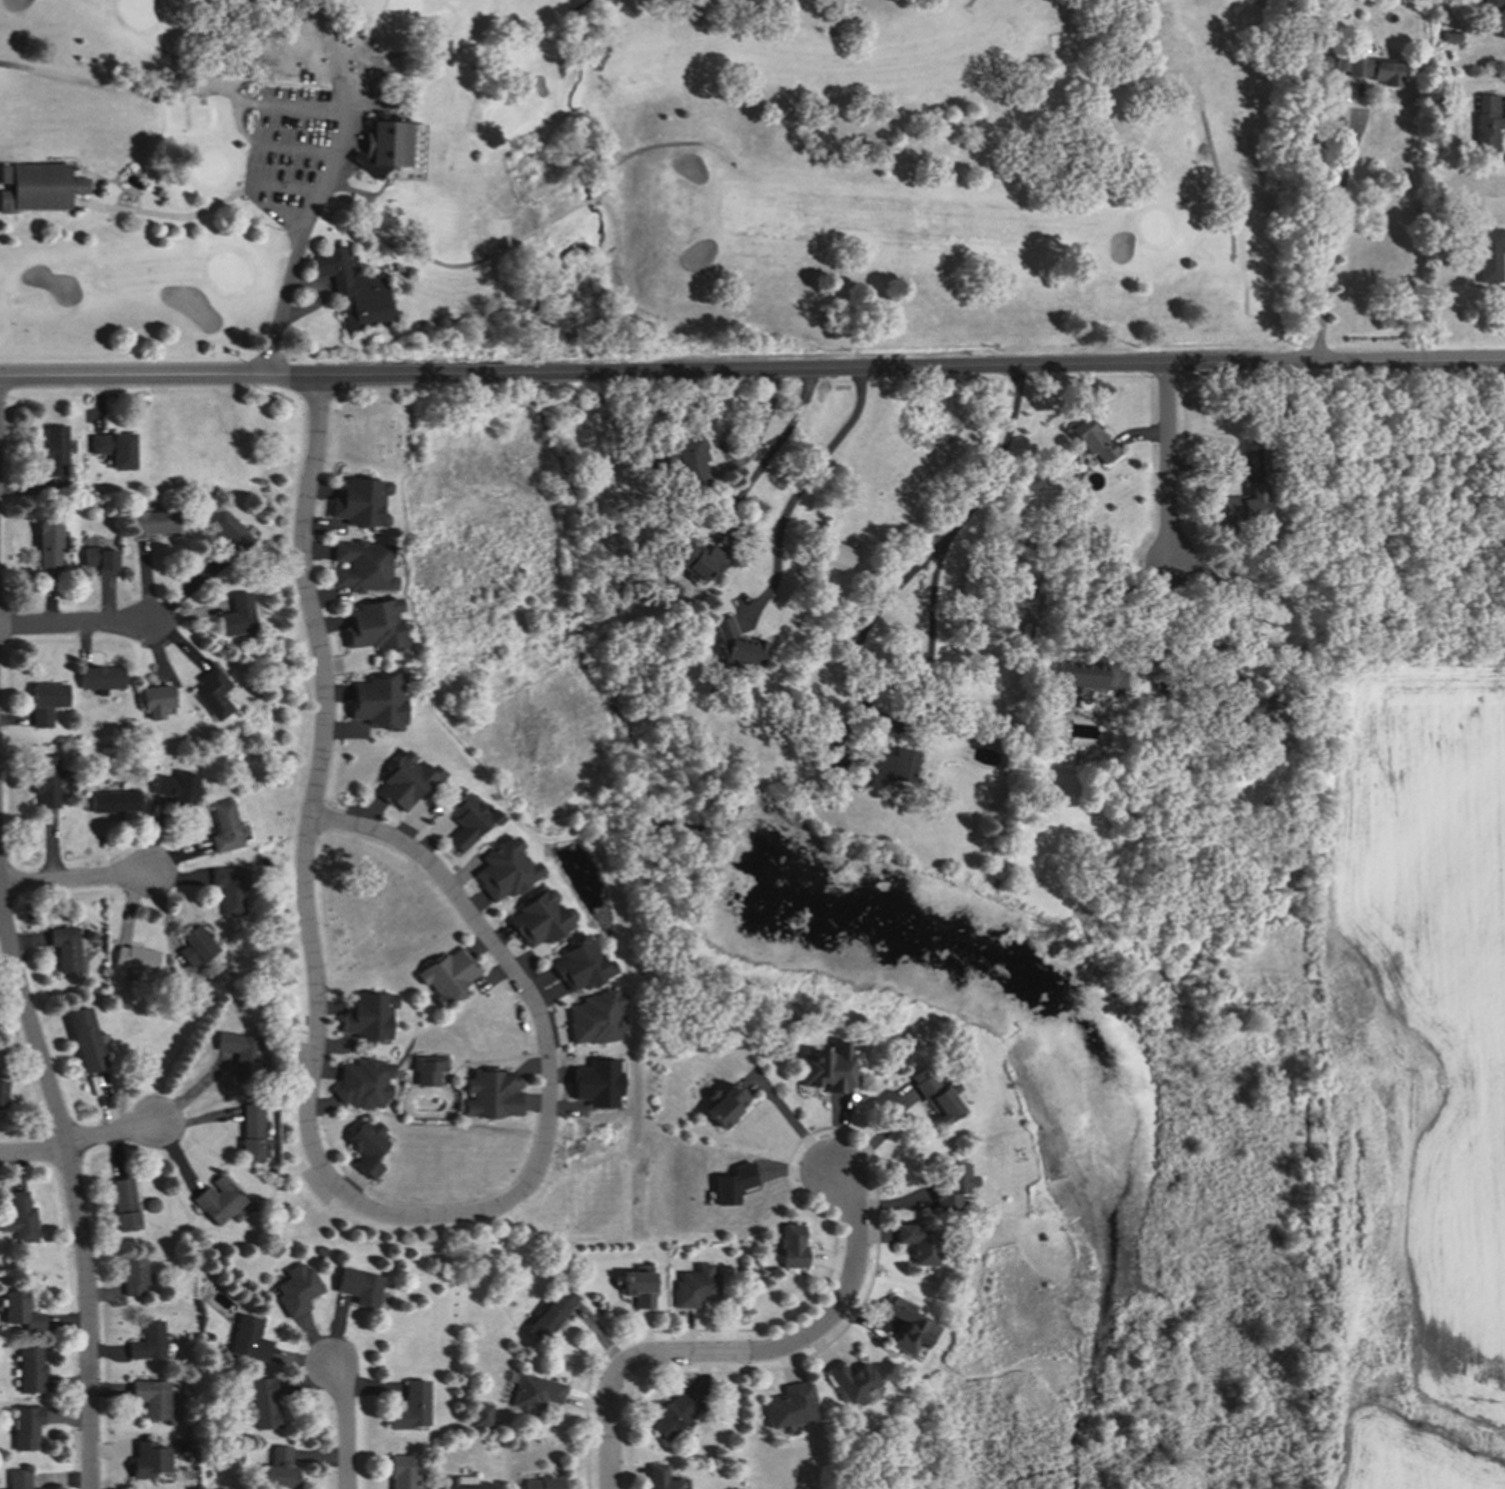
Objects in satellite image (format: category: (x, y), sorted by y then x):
building: (281, 3)
building: (1486, 3)
building: (1449, 36)
building: (1324, 61)
building: (1369, 68)
building: (359, 81)
building: (380, 93)
road: (337, 98)
building: (1487, 121)
parking lot: (294, 140)
building: (390, 149)
park: (636, 178)
building: (39, 186)
road: (284, 189)
road: (1331, 233)
building: (1487, 254)
building: (349, 288)
road: (1294, 362)
road: (815, 368)
road: (408, 376)
road: (134, 379)
building: (1091, 440)
building: (113, 449)
road: (1166, 449)
building: (52, 450)
road: (765, 454)
building: (1269, 457)
building: (676, 460)
building: (138, 488)
road: (794, 490)
building: (357, 502)
building: (1030, 505)
building: (1238, 507)
building: (150, 522)
building: (227, 534)
building: (47, 543)
building: (1052, 547)
building: (831, 554)
building: (98, 560)
building: (696, 561)
building: (358, 566)
road: (1146, 573)
road: (1226, 610)
building: (235, 615)
road: (1118, 615)
road: (863, 625)
road: (75, 626)
building: (371, 626)
building: (732, 646)
building: (670, 672)
building: (1076, 673)
building: (99, 677)
building: (1157, 684)
building: (211, 692)
building: (154, 700)
building: (42, 702)
building: (374, 703)
building: (1238, 705)
building: (1005, 762)
building: (886, 766)
building: (404, 778)
building: (44, 781)
building: (173, 788)
building: (112, 800)
building: (466, 817)
building: (222, 827)
building: (261, 862)
building: (504, 873)
road: (75, 885)
building: (228, 889)
building: (540, 920)
building: (86, 936)
building: (194, 946)
building: (65, 947)
building: (136, 957)
building: (577, 967)
building: (448, 975)
building: (206, 977)
building: (366, 1013)
building: (594, 1021)
building: (83, 1040)
building: (239, 1055)
building: (426, 1064)
building: (827, 1068)
building: (362, 1079)
building: (599, 1084)
building: (493, 1092)
building: (4, 1094)
building: (934, 1094)
building: (722, 1104)
road: (789, 1122)
building: (250, 1131)
road: (311, 1134)
road: (875, 1137)
building: (366, 1144)
road: (79, 1147)
building: (734, 1185)
building: (950, 1185)
road: (68, 1189)
building: (217, 1200)
building: (172, 1201)
building: (124, 1203)
building: (150, 1204)
building: (20, 1219)
building: (917, 1241)
building: (790, 1247)
building: (319, 1249)
building: (133, 1274)
building: (359, 1286)
building: (694, 1286)
building: (638, 1287)
building: (295, 1289)
building: (20, 1311)
building: (550, 1315)
building: (906, 1323)
building: (248, 1337)
building: (148, 1340)
road: (739, 1347)
building: (27, 1365)
building: (848, 1379)
building: (534, 1391)
building: (151, 1398)
building: (265, 1402)
building: (789, 1404)
building: (410, 1406)
building: (479, 1414)
building: (670, 1414)
building: (25, 1425)
road: (341, 1426)
building: (148, 1458)
building: (278, 1470)
building: (400, 1473)
building: (659, 1477)
building: (18, 1479)
building: (541, 1482)
building: (463, 1483)

